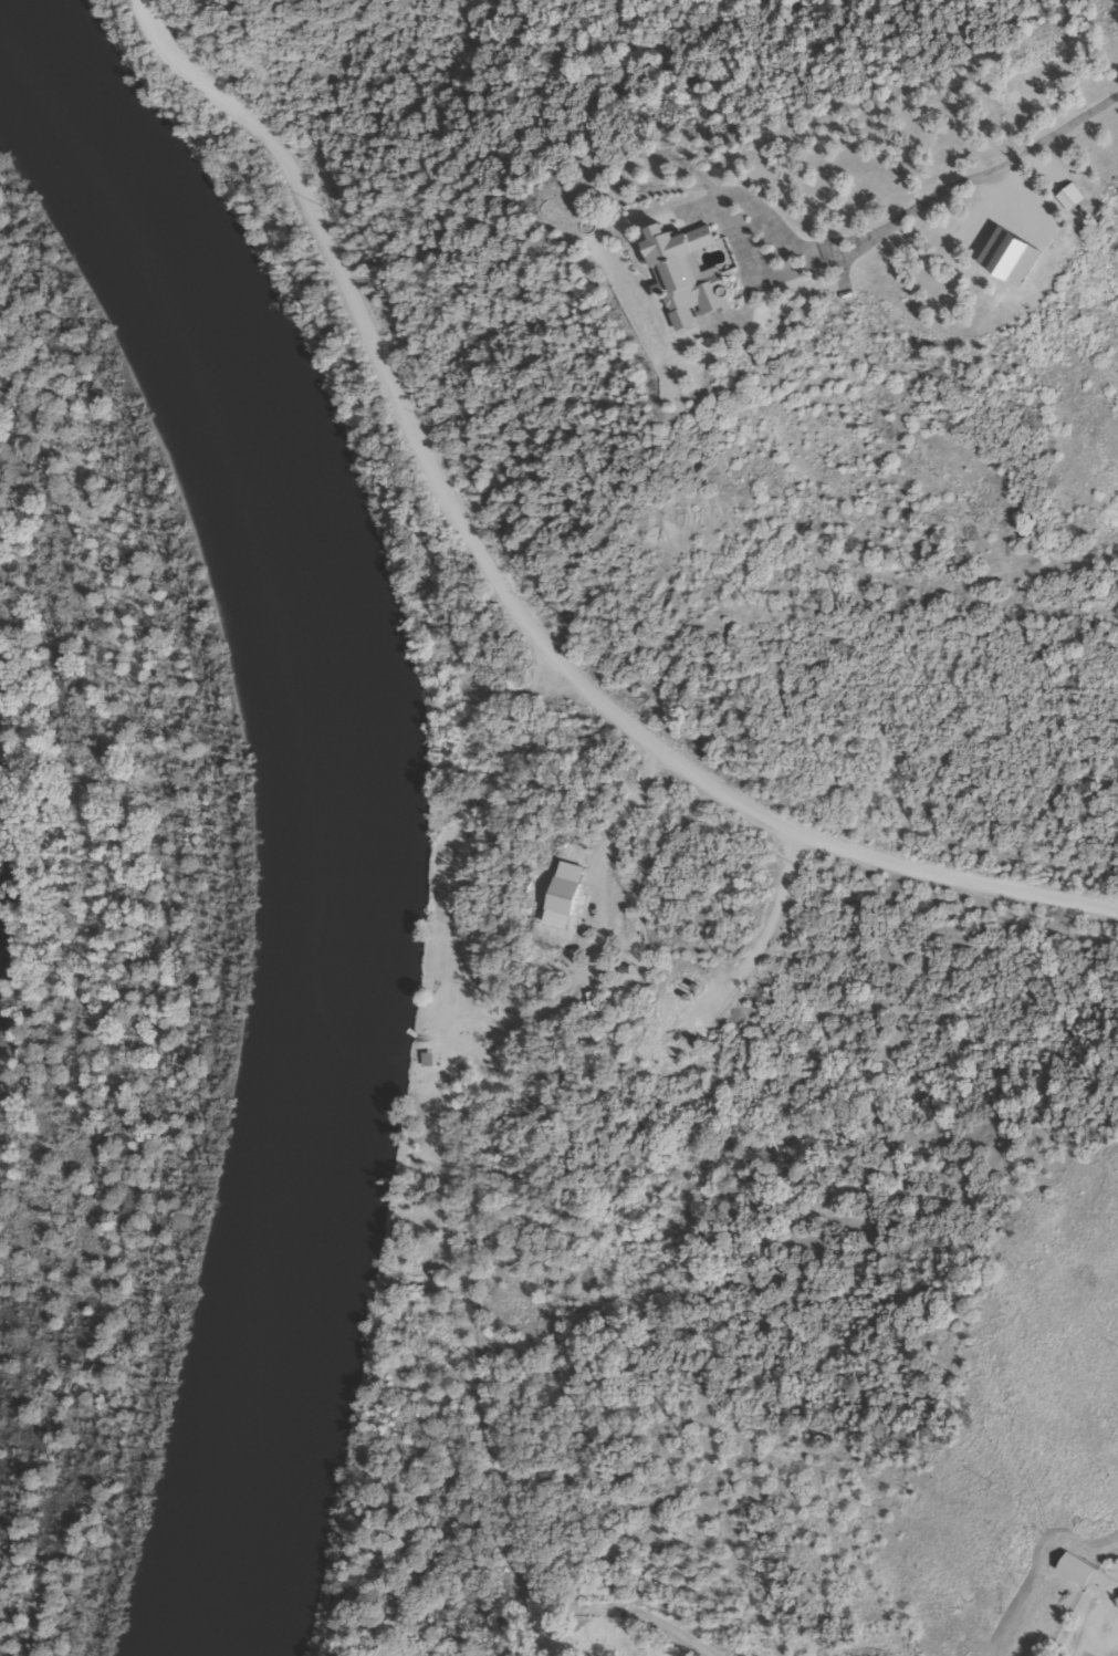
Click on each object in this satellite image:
road: (969, 183)
building: (681, 274)
road: (512, 594)
parking lot: (545, 691)
river: (331, 796)
building: (1072, 1569)

